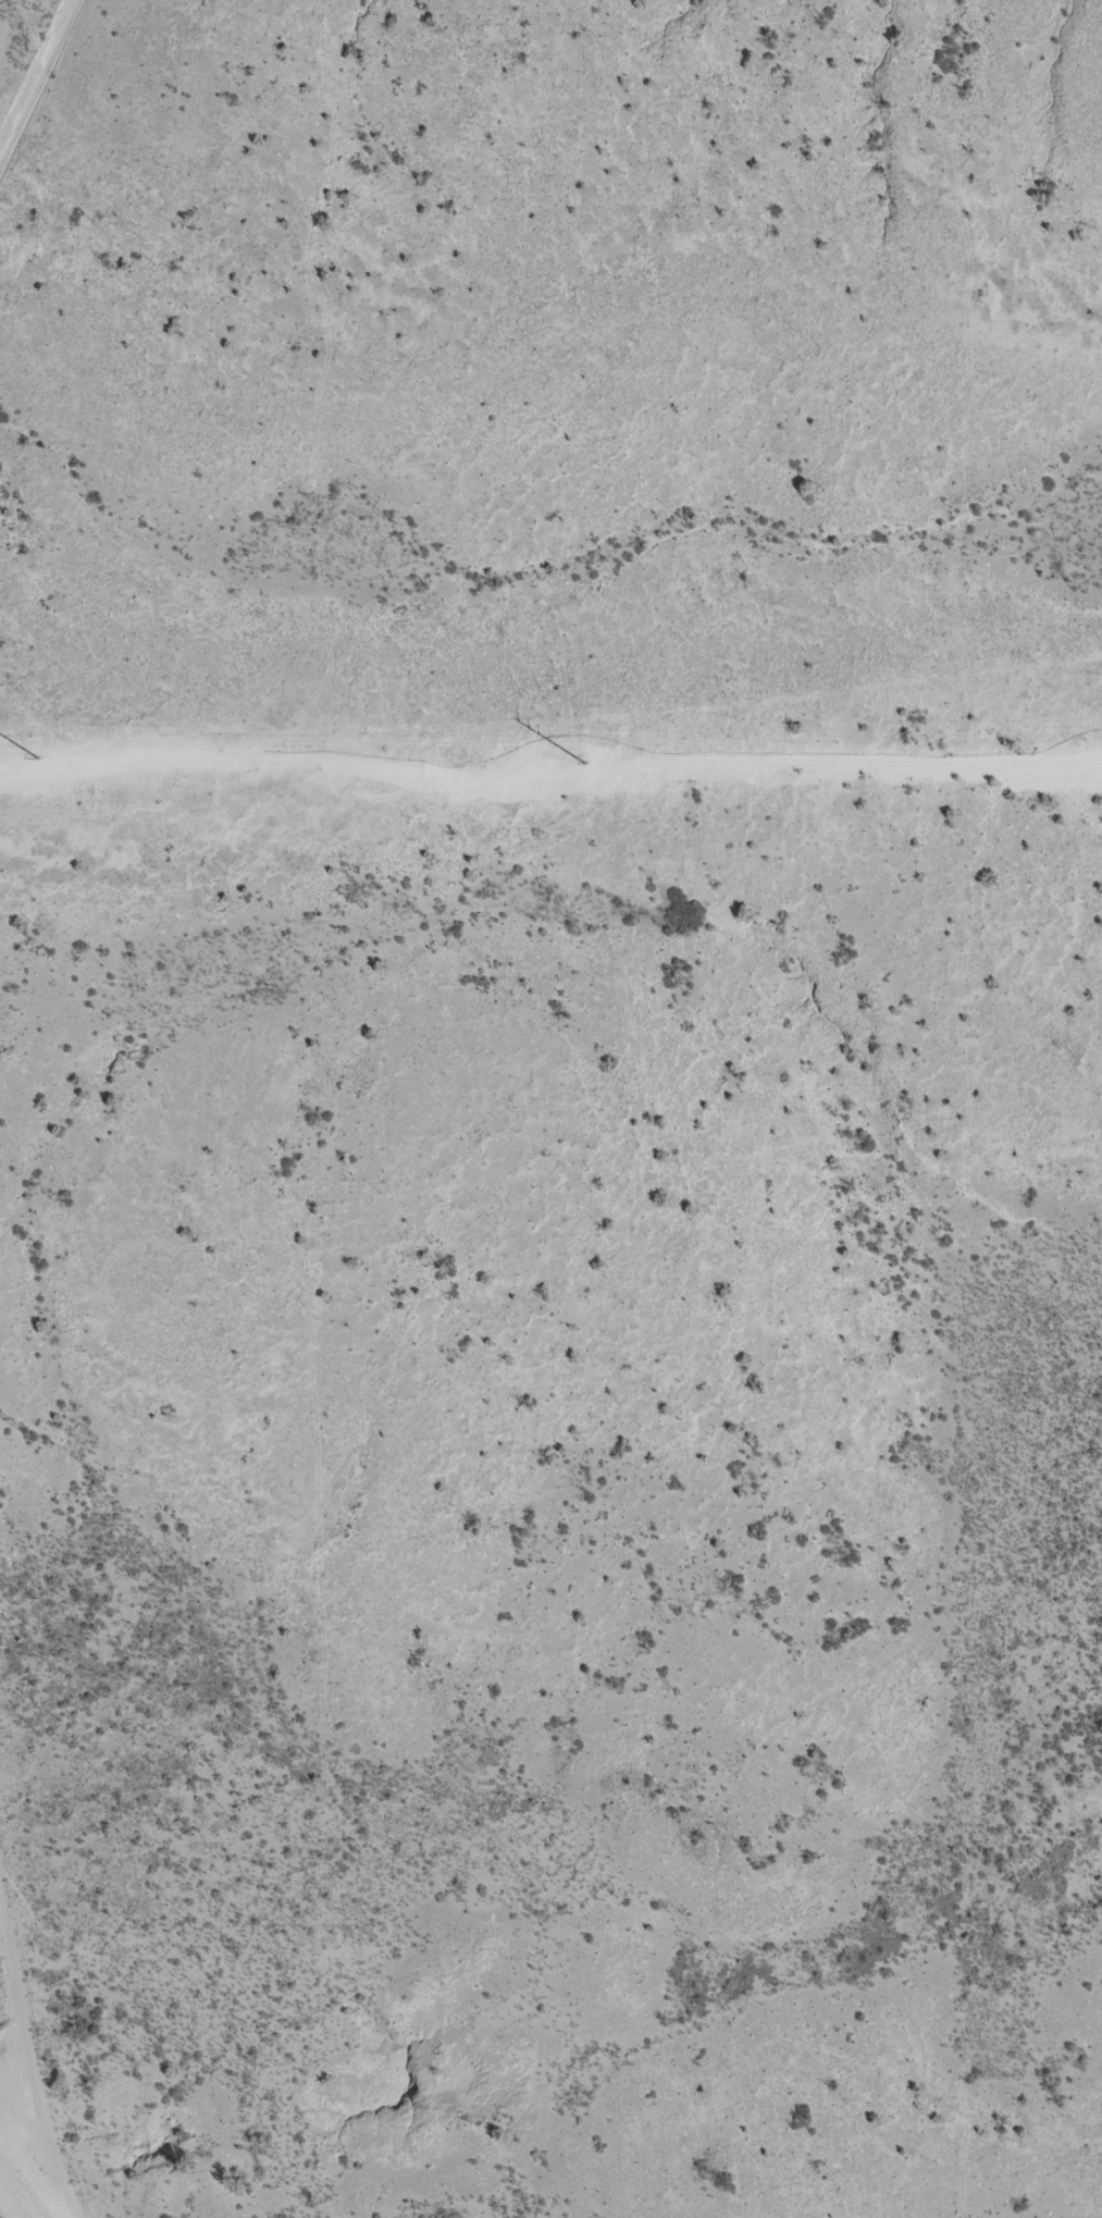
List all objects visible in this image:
road: (37, 72)
power tower: (530, 766)
road: (5, 1859)
road: (47, 1995)

